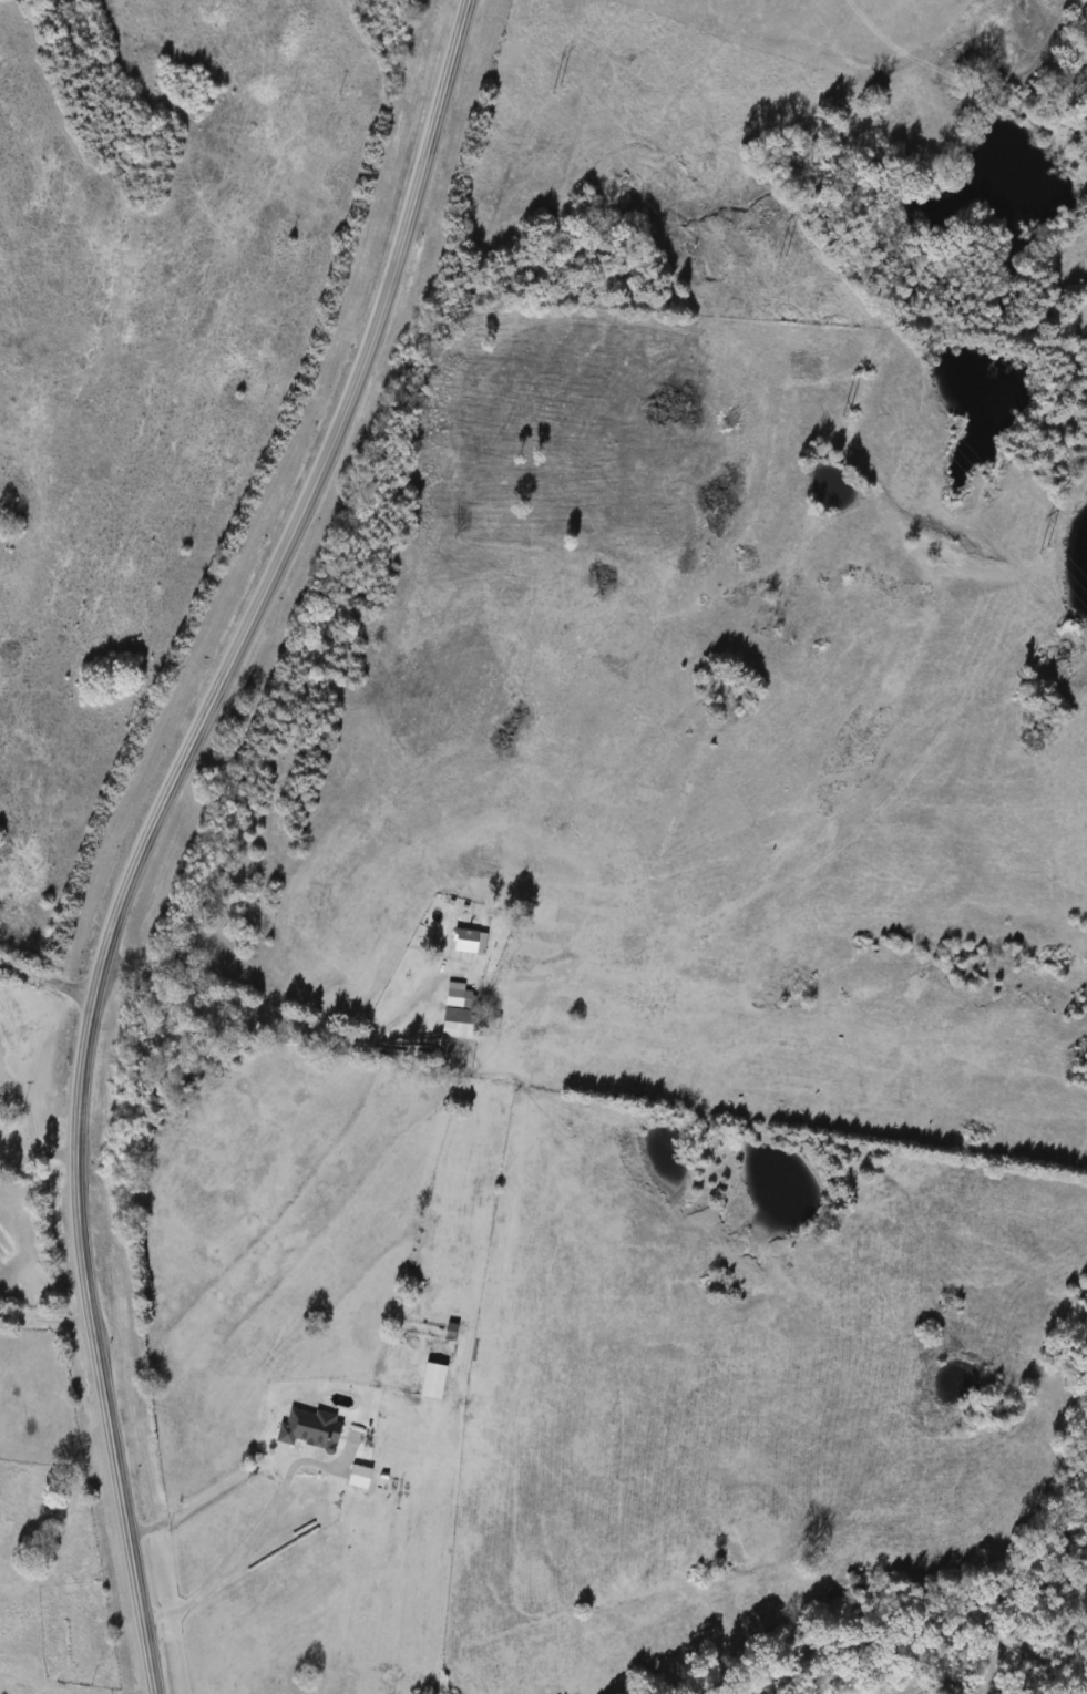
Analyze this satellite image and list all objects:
power tower: (551, 89)
power tower: (759, 253)
power tower: (824, 411)
power tower: (1025, 548)
road: (148, 823)
building: (474, 944)
road: (45, 979)
road: (273, 1012)
building: (449, 1026)
road: (23, 1107)
road: (17, 1140)
road: (54, 1151)
road: (43, 1318)
building: (425, 1380)
building: (335, 1431)
building: (353, 1476)
road: (244, 1546)
road: (20, 1687)
road: (141, 1692)

